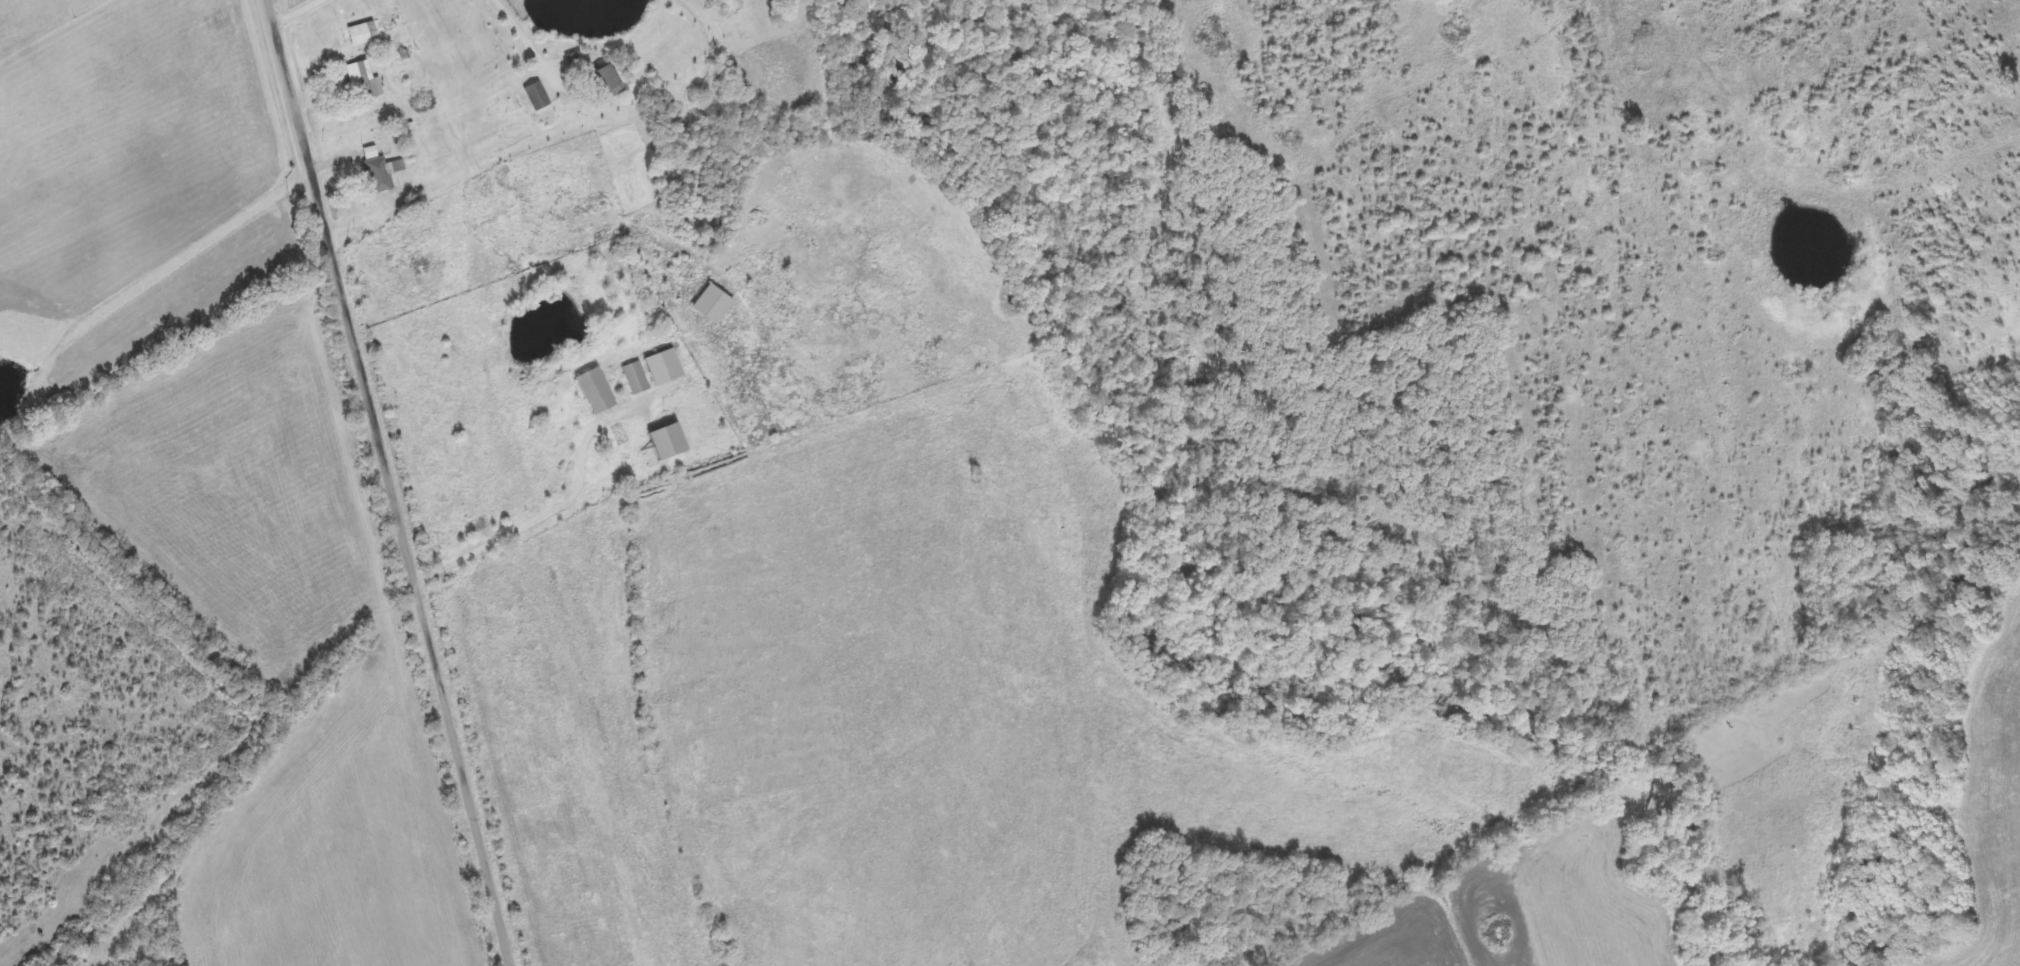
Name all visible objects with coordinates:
building: (363, 35)
building: (364, 83)
building: (606, 84)
building: (537, 98)
building: (380, 171)
building: (713, 305)
building: (664, 367)
building: (636, 379)
building: (596, 391)
building: (668, 441)
road: (397, 482)
road: (131, 898)

